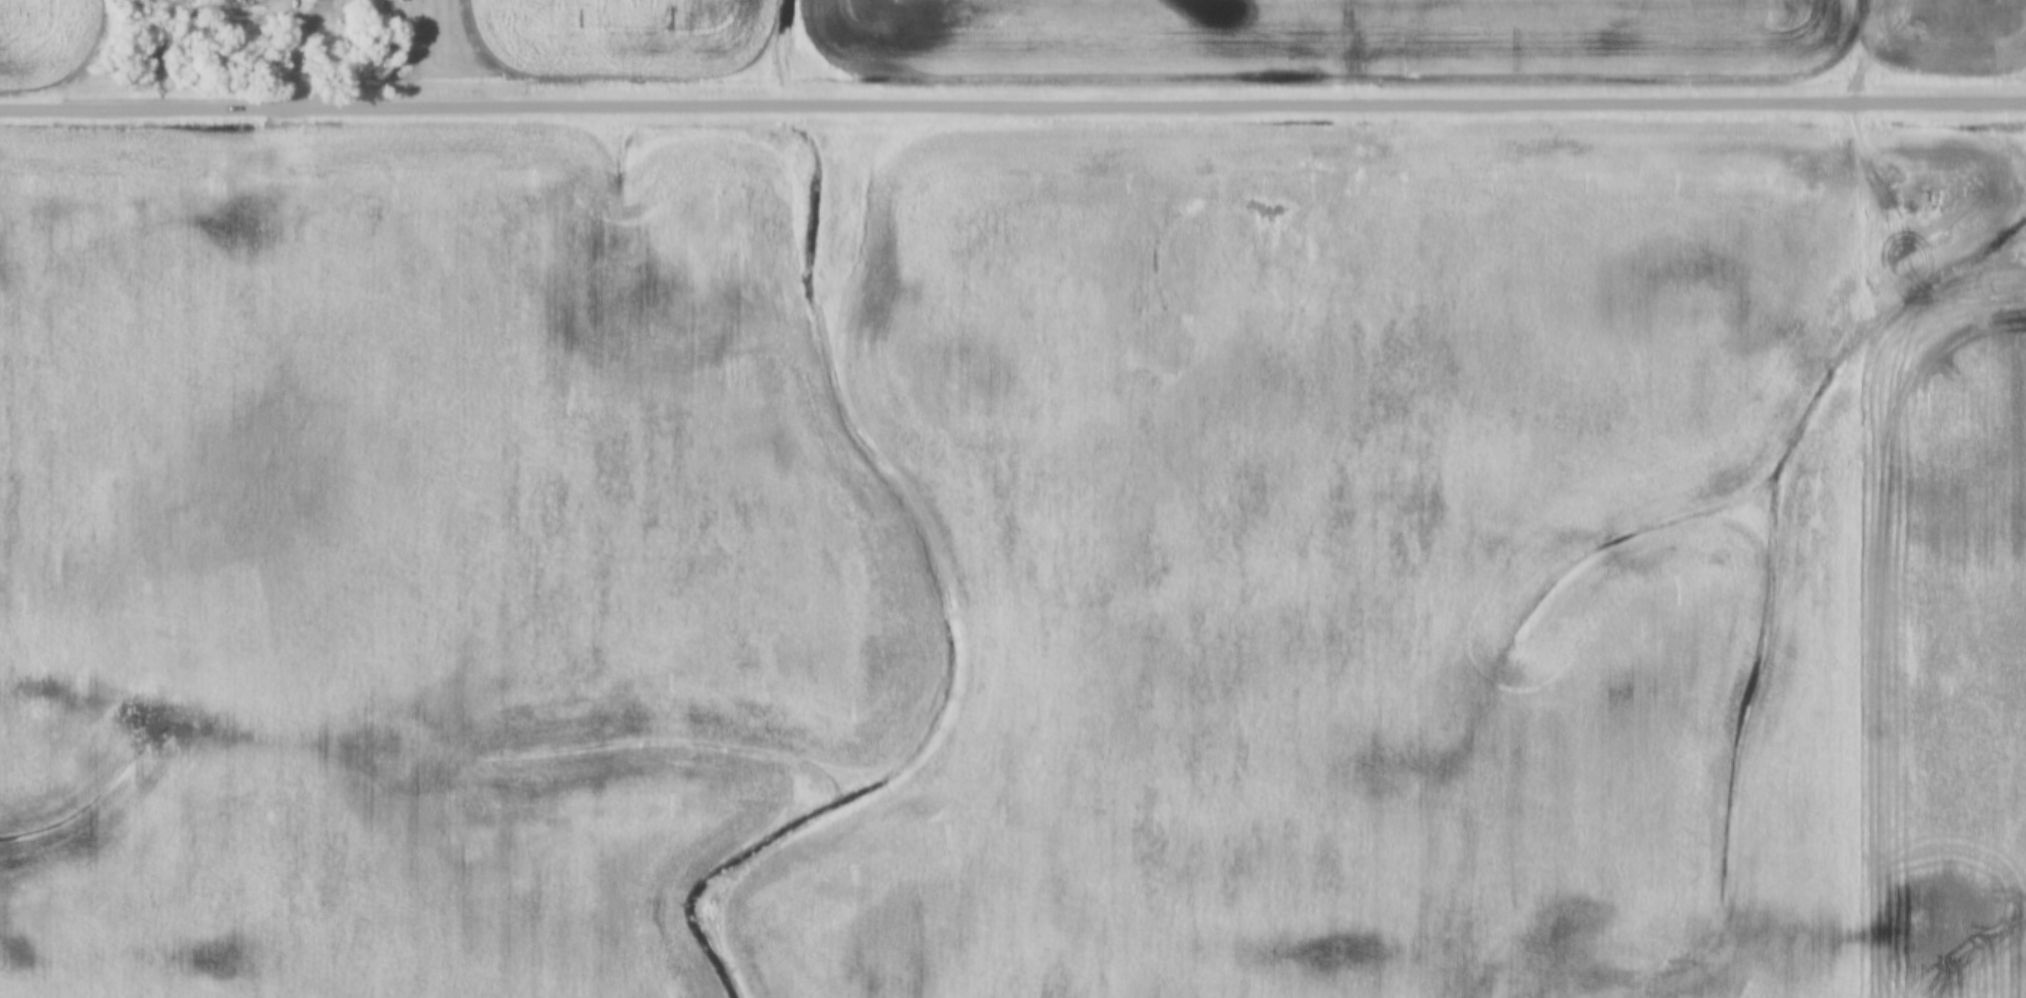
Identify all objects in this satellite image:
building: (261, 0)
building: (355, 0)
road: (293, 47)
road: (1012, 100)

